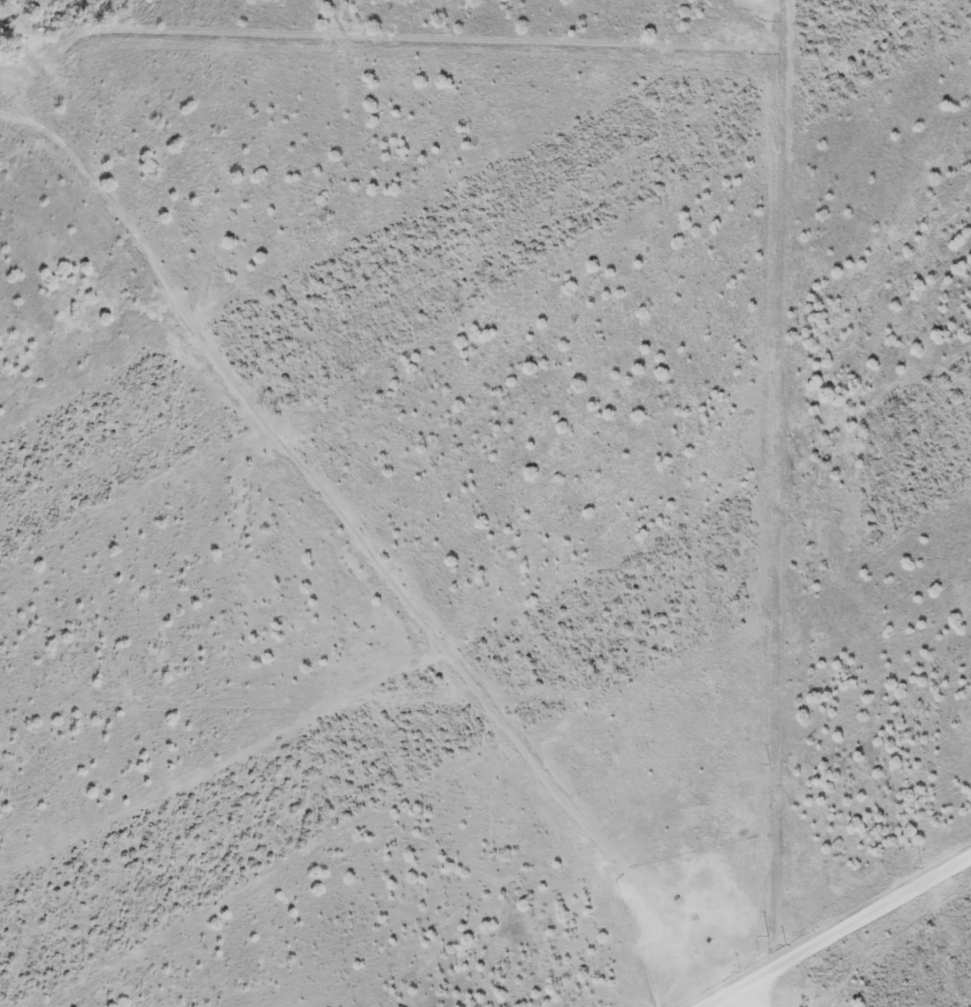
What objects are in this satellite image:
road: (650, 897)
road: (825, 929)

